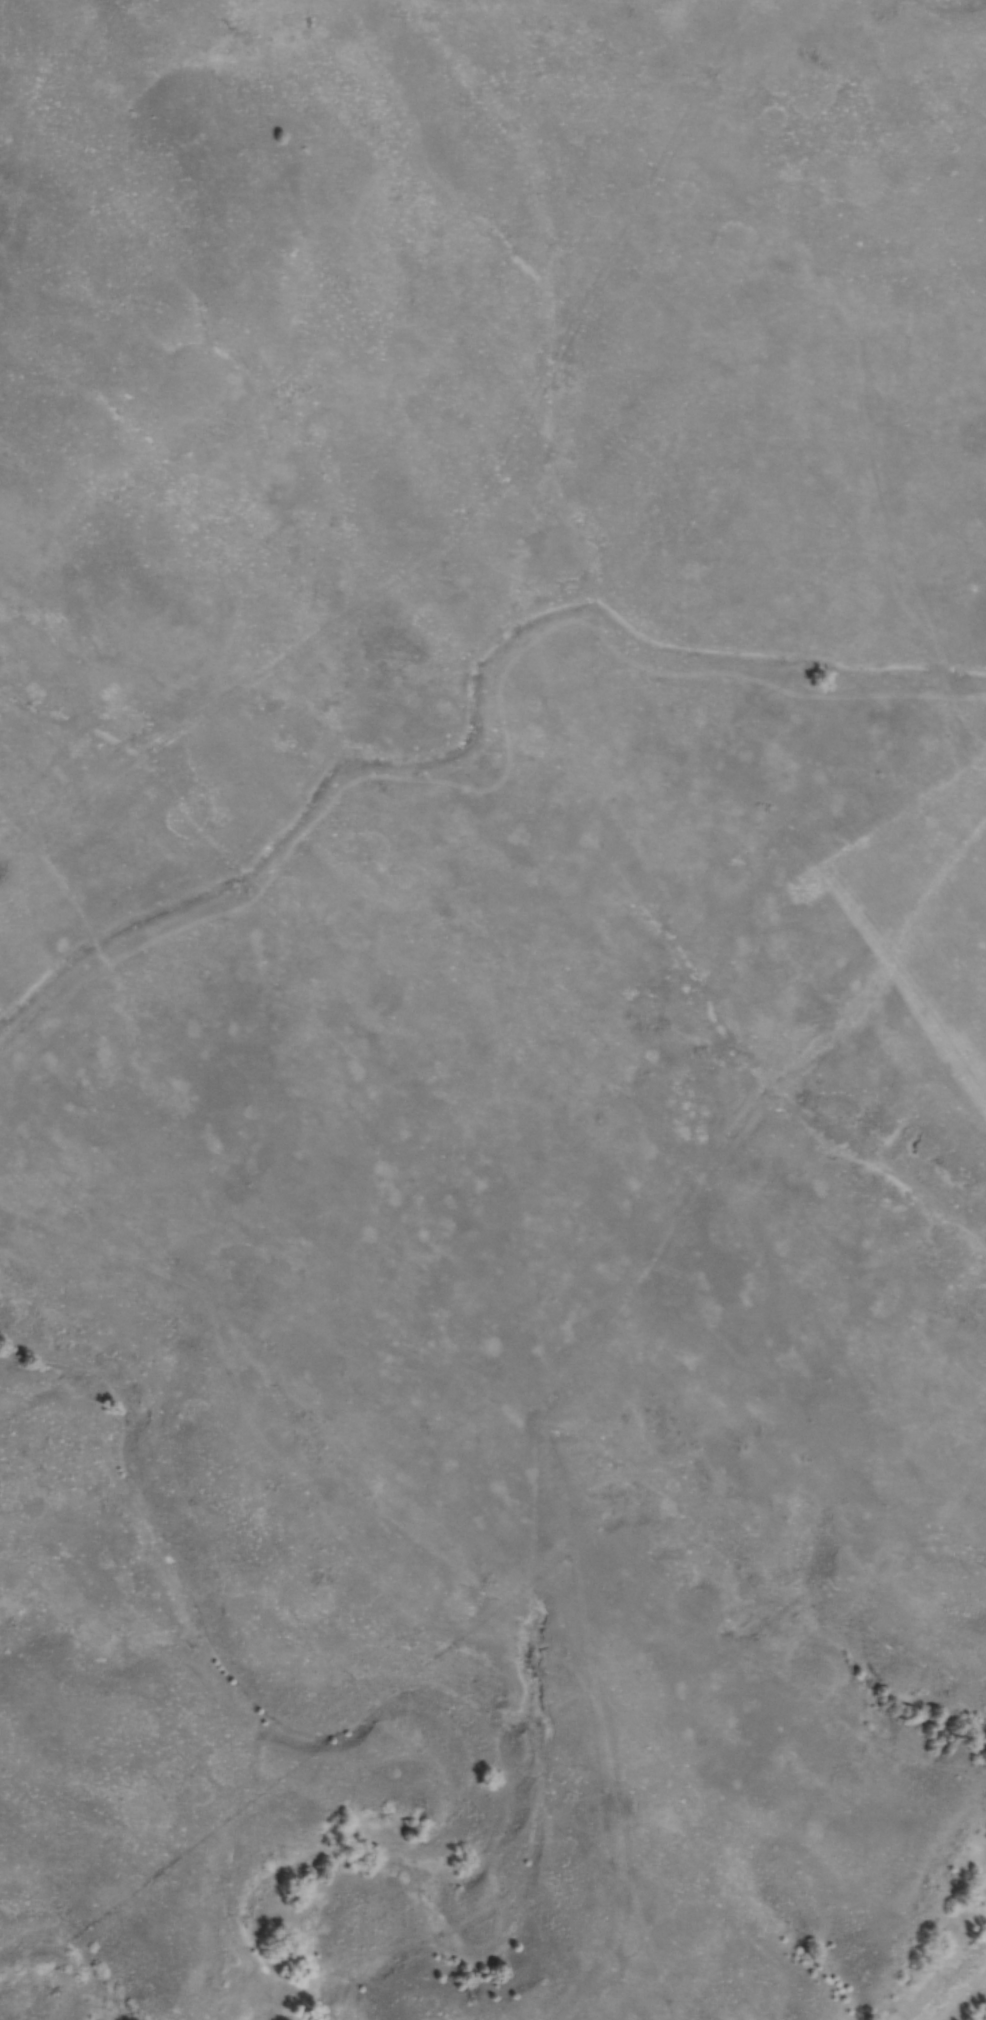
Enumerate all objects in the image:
park: (605, 1833)

